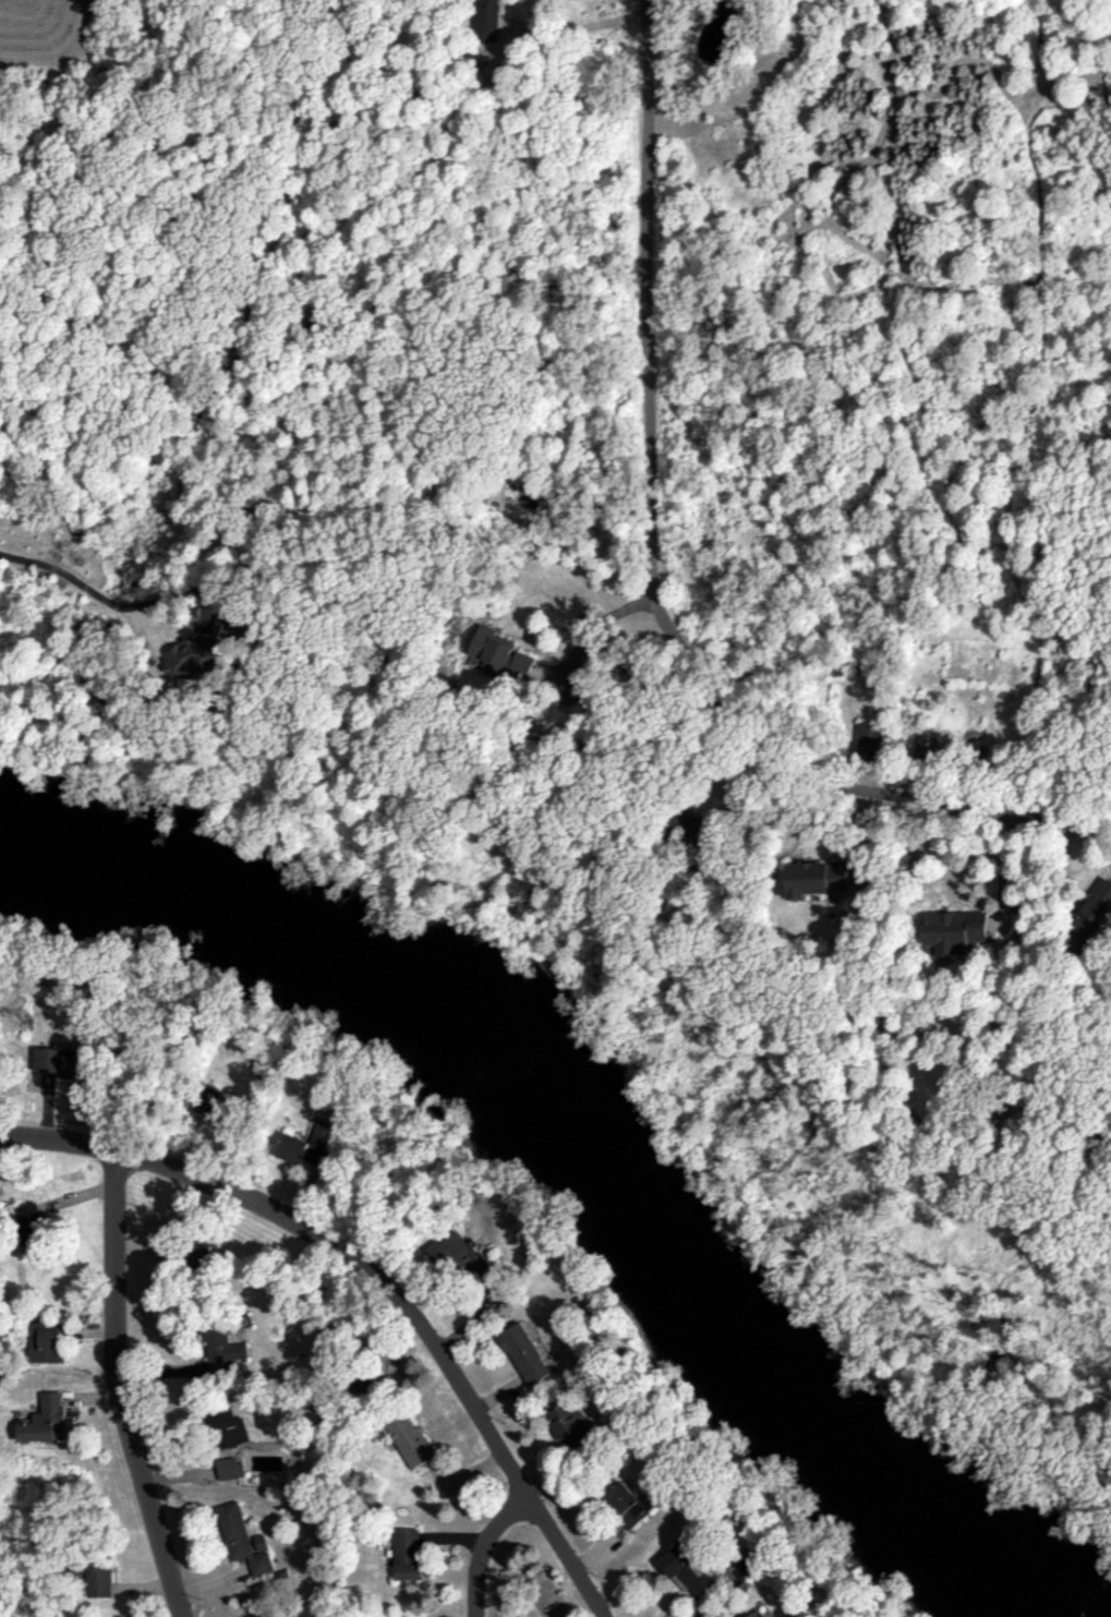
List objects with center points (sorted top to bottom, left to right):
building: (486, 19)
road: (580, 29)
road: (647, 578)
road: (101, 596)
road: (596, 628)
building: (198, 648)
building: (500, 653)
building: (868, 739)
building: (927, 747)
road: (1000, 868)
building: (817, 878)
building: (1089, 916)
building: (953, 929)
building: (57, 1061)
river: (588, 1151)
building: (29, 1219)
building: (455, 1254)
road: (375, 1277)
building: (47, 1341)
building: (221, 1349)
building: (523, 1353)
road: (118, 1389)
building: (43, 1416)
building: (575, 1425)
building: (227, 1427)
building: (410, 1440)
building: (230, 1468)
building: (628, 1505)
building: (243, 1540)
road: (478, 1549)
building: (407, 1554)
building: (98, 1574)
building: (754, 1614)

